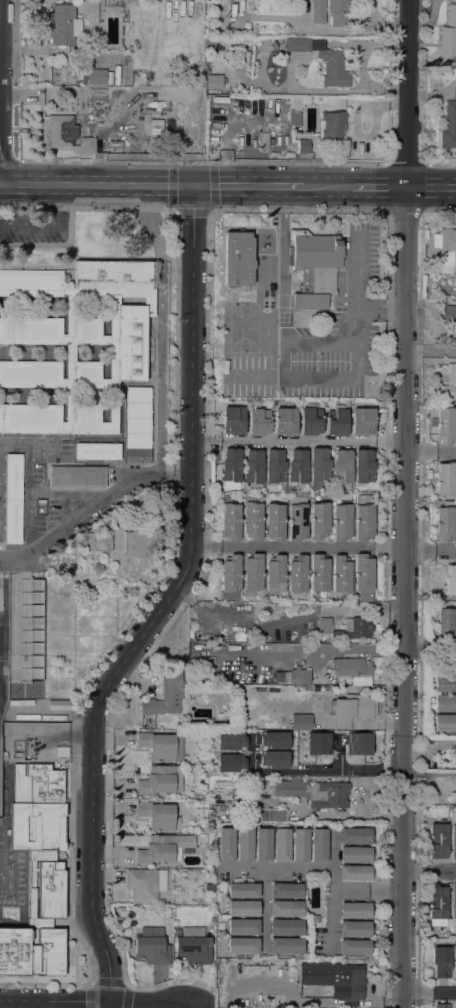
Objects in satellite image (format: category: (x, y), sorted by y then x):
building: (318, 11)
building: (338, 12)
road: (380, 23)
building: (63, 25)
road: (0, 31)
building: (448, 36)
building: (209, 41)
building: (297, 45)
building: (333, 68)
building: (96, 76)
building: (212, 81)
building: (296, 111)
building: (332, 124)
building: (449, 124)
building: (61, 130)
building: (264, 139)
building: (87, 145)
building: (303, 146)
street lamp: (50, 160)
road: (9, 161)
street lamp: (127, 161)
street lamp: (213, 161)
street lamp: (286, 161)
road: (202, 162)
street lamp: (380, 163)
road: (405, 164)
road: (440, 164)
road: (97, 185)
traffic signals: (194, 186)
road: (248, 186)
road: (327, 186)
road: (379, 187)
road: (431, 187)
road: (192, 211)
road: (48, 224)
building: (446, 249)
building: (238, 259)
road: (282, 262)
building: (314, 267)
road: (353, 299)
building: (449, 314)
park: (244, 328)
road: (160, 329)
building: (76, 343)
road: (432, 351)
road: (295, 377)
building: (449, 382)
road: (175, 398)
building: (311, 419)
building: (233, 420)
building: (285, 421)
building: (362, 421)
building: (259, 422)
building: (337, 422)
building: (138, 425)
building: (445, 425)
road: (300, 441)
building: (97, 451)
road: (431, 451)
building: (275, 466)
building: (298, 466)
building: (364, 466)
building: (254, 467)
building: (319, 467)
building: (231, 468)
building: (343, 468)
building: (77, 476)
building: (445, 479)
building: (13, 498)
road: (406, 503)
road: (92, 508)
building: (253, 517)
building: (319, 520)
building: (342, 520)
building: (363, 520)
building: (230, 521)
building: (275, 521)
building: (297, 522)
building: (444, 524)
building: (96, 541)
building: (138, 543)
road: (298, 547)
road: (431, 554)
building: (84, 565)
building: (363, 572)
building: (275, 573)
building: (252, 574)
building: (341, 574)
building: (297, 575)
building: (318, 575)
building: (230, 577)
building: (450, 580)
road: (162, 604)
building: (243, 609)
building: (446, 624)
building: (324, 625)
building: (354, 628)
road: (430, 647)
building: (337, 648)
building: (351, 666)
building: (282, 675)
building: (299, 676)
building: (270, 678)
building: (445, 683)
building: (165, 695)
building: (445, 702)
building: (352, 709)
building: (295, 721)
building: (445, 722)
building: (272, 740)
building: (229, 741)
building: (316, 743)
building: (357, 743)
building: (162, 747)
road: (430, 748)
building: (61, 752)
road: (251, 754)
road: (339, 754)
building: (272, 759)
building: (229, 762)
road: (327, 770)
building: (161, 779)
building: (314, 792)
building: (455, 797)
building: (272, 814)
building: (157, 815)
building: (355, 836)
building: (438, 840)
building: (453, 842)
building: (226, 844)
building: (244, 844)
building: (263, 844)
building: (282, 844)
building: (300, 845)
building: (318, 845)
building: (164, 848)
building: (355, 855)
road: (275, 869)
road: (429, 870)
building: (37, 871)
building: (354, 872)
building: (145, 884)
building: (210, 887)
road: (331, 889)
building: (243, 890)
building: (285, 890)
road: (367, 891)
building: (453, 900)
building: (437, 903)
road: (71, 904)
building: (242, 908)
building: (286, 908)
road: (263, 910)
building: (355, 910)
building: (315, 919)
building: (243, 926)
building: (286, 927)
building: (354, 929)
building: (242, 945)
building: (286, 945)
building: (151, 946)
building: (193, 946)
building: (354, 947)
building: (440, 961)
building: (454, 961)
building: (336, 979)
road: (429, 994)
road: (289, 995)
road: (55, 1001)
road: (159, 1001)
road: (379, 1002)
road: (350, 1003)
road: (209, 1004)
building: (441, 1006)
building: (455, 1007)

